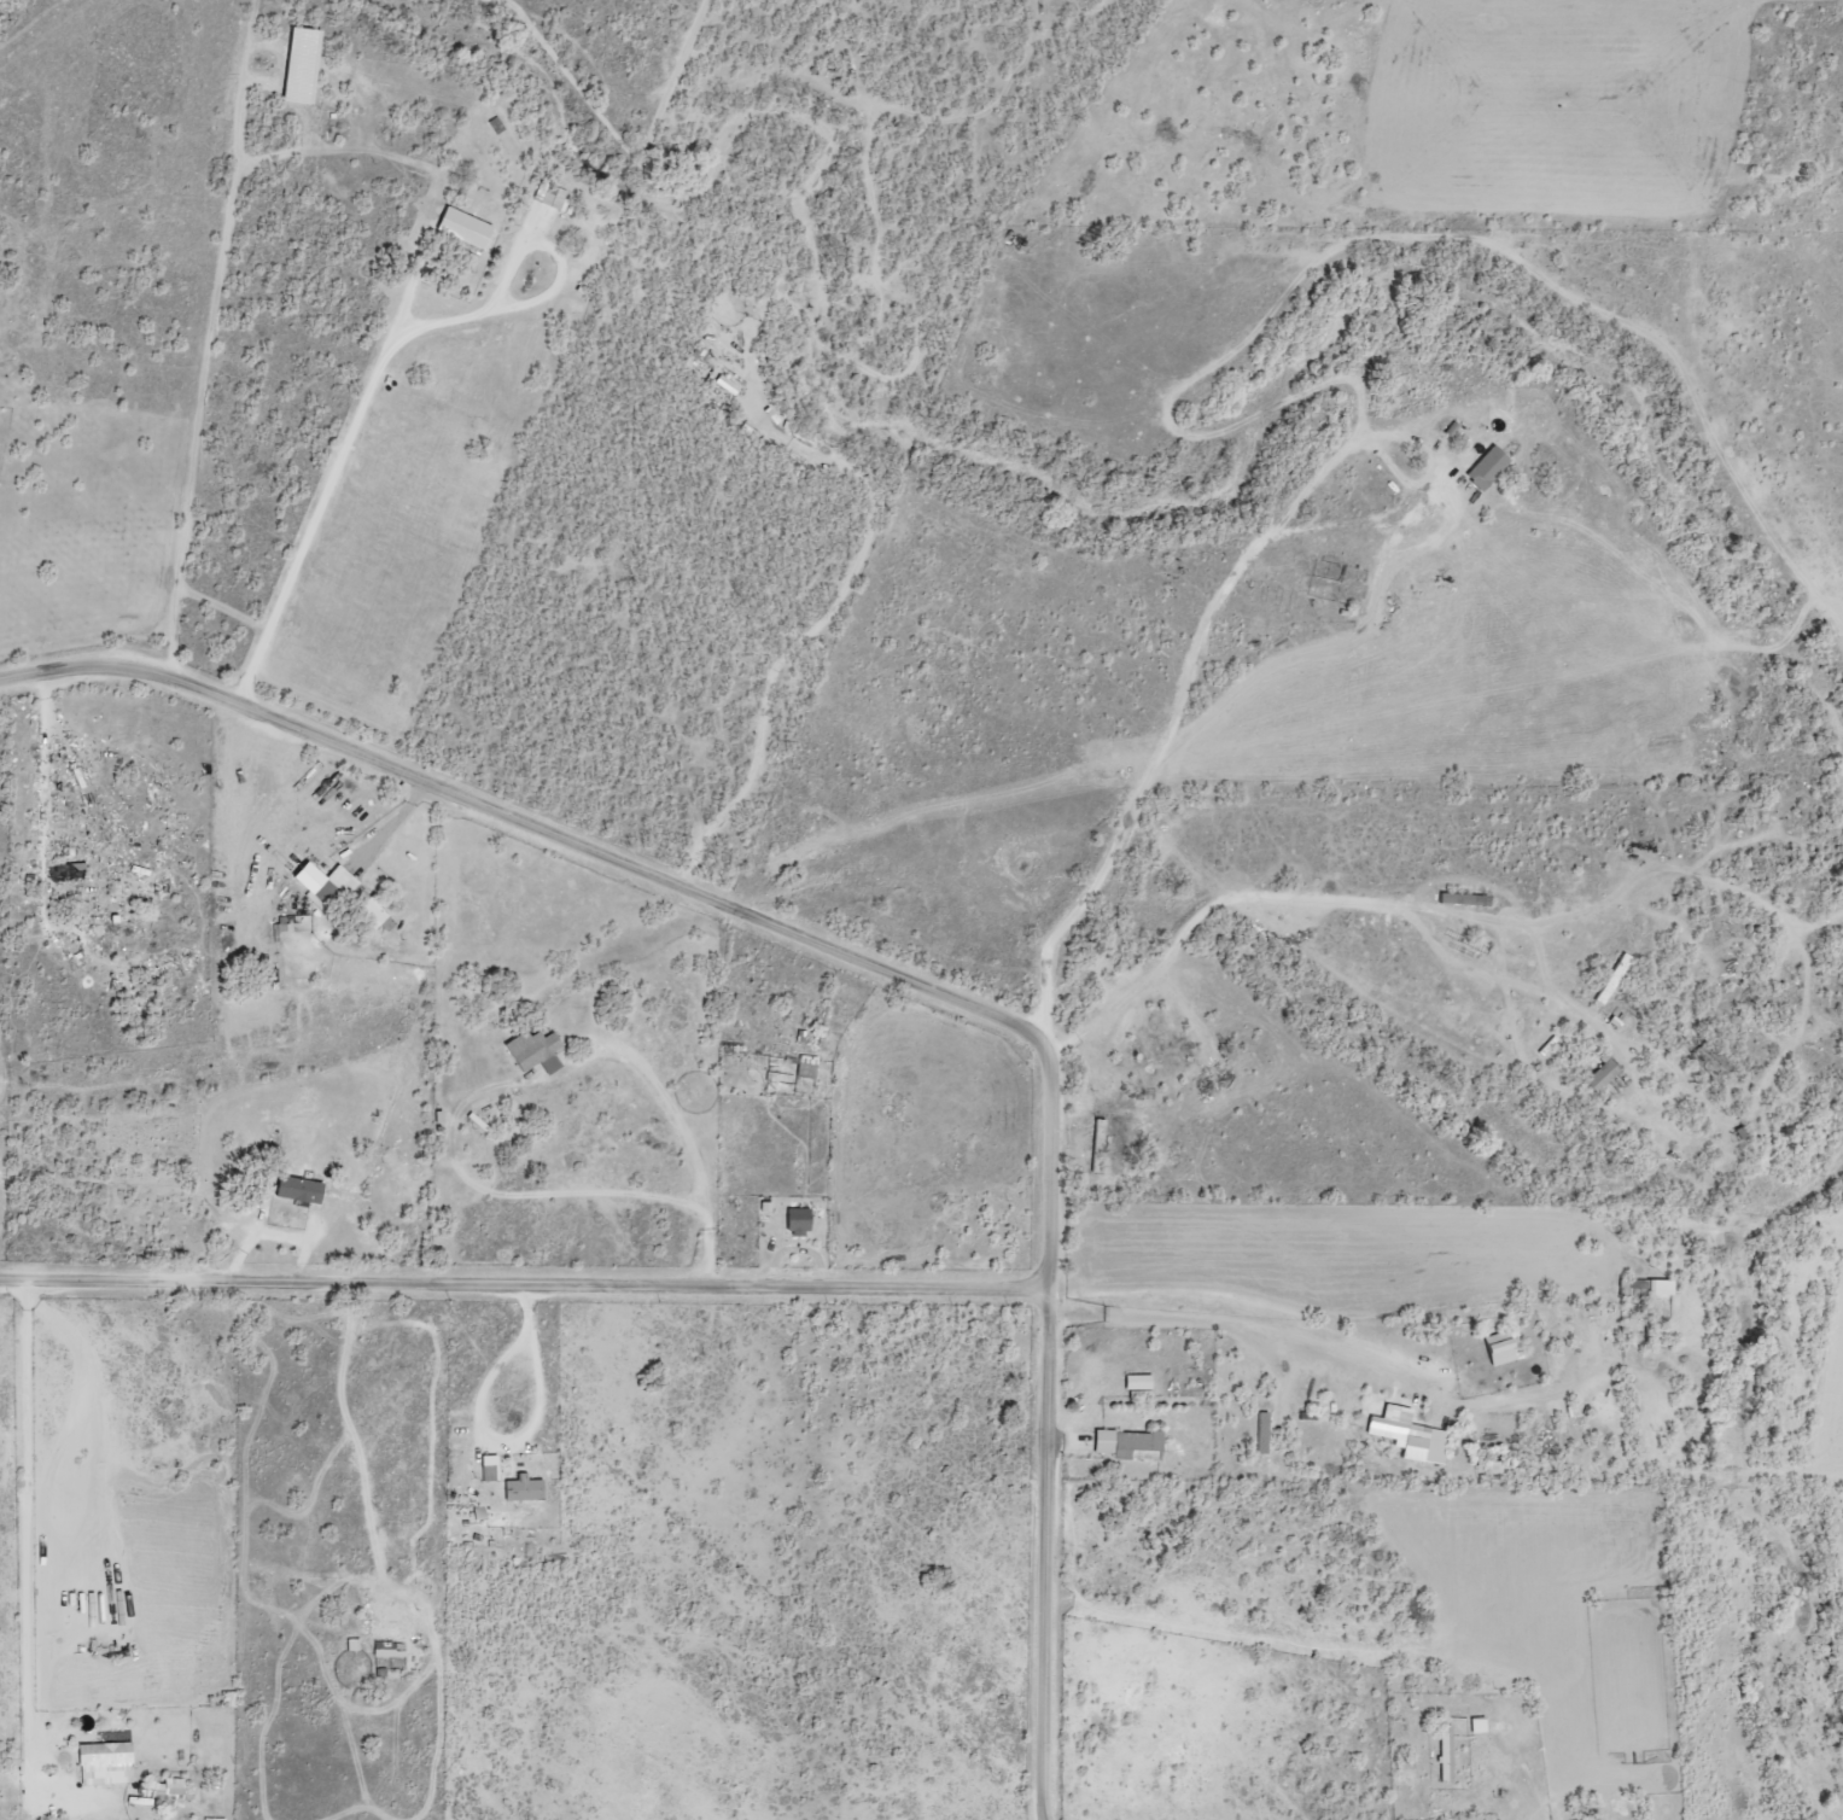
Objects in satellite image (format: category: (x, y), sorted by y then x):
building: (301, 64)
building: (550, 196)
building: (463, 227)
building: (727, 384)
building: (1487, 467)
building: (340, 894)
road: (891, 966)
building: (536, 1051)
building: (806, 1067)
building: (1602, 1075)
building: (1100, 1130)
building: (299, 1190)
building: (798, 1221)
road: (519, 1284)
building: (1660, 1287)
building: (1499, 1348)
building: (1138, 1381)
building: (1410, 1435)
building: (1128, 1443)
building: (489, 1469)
building: (523, 1489)
building: (523, 1551)
building: (389, 1650)
building: (1479, 1726)
building: (1446, 1752)
building: (105, 1763)
building: (168, 1789)
building: (214, 1819)

